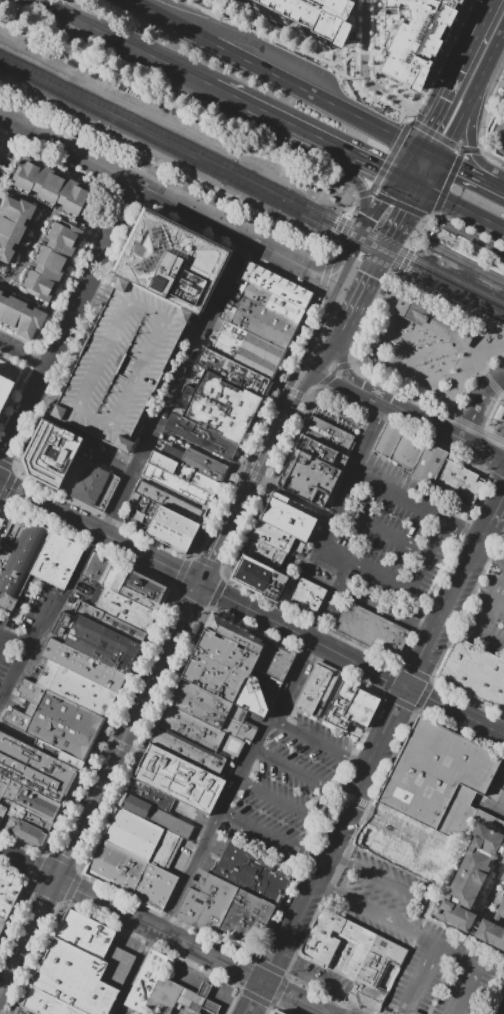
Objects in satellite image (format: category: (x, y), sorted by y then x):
road: (502, 9)
building: (317, 15)
road: (295, 30)
road: (101, 31)
road: (490, 35)
building: (417, 38)
road: (354, 45)
road: (350, 53)
road: (364, 65)
road: (373, 67)
road: (476, 70)
road: (274, 73)
road: (188, 74)
road: (356, 79)
road: (230, 94)
road: (448, 101)
building: (502, 101)
road: (408, 115)
road: (456, 120)
road: (288, 122)
traffic signals: (427, 131)
road: (498, 133)
road: (435, 135)
parking lot: (496, 137)
road: (70, 149)
road: (428, 151)
road: (473, 151)
road: (389, 156)
road: (362, 158)
road: (493, 159)
road: (406, 160)
road: (448, 160)
traffic signals: (459, 166)
traffic signals: (379, 167)
road: (431, 172)
parking lot: (175, 176)
road: (479, 176)
railway: (252, 177)
road: (410, 182)
road: (448, 182)
building: (53, 187)
railway: (252, 189)
road: (361, 193)
road: (398, 204)
road: (353, 207)
road: (463, 207)
road: (377, 210)
traffic signals: (409, 213)
road: (406, 217)
building: (13, 226)
road: (419, 228)
road: (429, 228)
road: (469, 228)
road: (339, 229)
road: (239, 232)
railway: (435, 236)
railway: (473, 239)
road: (331, 251)
road: (387, 252)
building: (54, 259)
road: (400, 260)
railway: (468, 260)
building: (173, 261)
road: (347, 263)
building: (497, 263)
road: (324, 277)
traffic signals: (374, 278)
building: (277, 284)
road: (102, 286)
parking lot: (111, 291)
road: (364, 294)
road: (97, 296)
parking lot: (107, 301)
building: (272, 301)
road: (447, 305)
building: (426, 315)
building: (22, 317)
road: (72, 322)
building: (264, 322)
street lamp: (418, 331)
building: (463, 333)
street lamp: (492, 333)
road: (341, 337)
street lamp: (442, 342)
street lamp: (404, 345)
building: (248, 349)
road: (24, 355)
road: (302, 359)
street lamp: (451, 360)
road: (326, 361)
road: (401, 361)
street lamp: (416, 365)
road: (475, 365)
building: (13, 366)
building: (125, 366)
parking garage: (125, 366)
road: (356, 366)
building: (233, 370)
road: (333, 370)
road: (463, 370)
street lamp: (444, 376)
road: (352, 380)
road: (489, 381)
road: (492, 385)
building: (6, 389)
road: (349, 389)
road: (294, 392)
street lamp: (497, 400)
building: (221, 406)
road: (290, 406)
building: (499, 413)
road: (473, 418)
street lamp: (488, 420)
road: (158, 421)
road: (424, 422)
road: (254, 424)
road: (478, 427)
road: (404, 428)
road: (488, 431)
building: (330, 435)
building: (202, 437)
road: (498, 444)
road: (477, 448)
road: (205, 451)
building: (51, 452)
building: (321, 452)
traffic signals: (492, 455)
road: (498, 457)
road: (111, 461)
building: (428, 464)
building: (193, 469)
road: (496, 476)
building: (309, 477)
road: (273, 478)
building: (90, 484)
building: (176, 484)
road: (172, 491)
road: (294, 496)
building: (171, 501)
road: (417, 505)
road: (496, 508)
road: (237, 511)
building: (287, 517)
building: (170, 526)
road: (382, 530)
road: (100, 533)
parking lot: (383, 539)
building: (275, 548)
road: (490, 550)
building: (19, 559)
building: (58, 560)
road: (208, 562)
building: (96, 567)
road: (180, 572)
building: (116, 576)
building: (260, 577)
traffic signals: (202, 584)
road: (406, 585)
building: (145, 586)
road: (216, 592)
building: (302, 595)
building: (140, 598)
road: (188, 602)
road: (500, 602)
road: (446, 603)
parking lot: (488, 605)
building: (124, 608)
road: (385, 610)
building: (109, 621)
road: (487, 621)
building: (371, 630)
parking lot: (26, 634)
building: (237, 634)
road: (304, 634)
road: (0, 638)
road: (14, 642)
building: (102, 644)
road: (172, 644)
road: (30, 647)
building: (275, 661)
building: (83, 664)
building: (221, 667)
road: (73, 671)
building: (474, 672)
building: (75, 687)
building: (317, 687)
building: (254, 699)
building: (201, 704)
building: (352, 707)
road: (454, 710)
road: (277, 713)
building: (54, 724)
building: (239, 725)
road: (503, 731)
building: (201, 733)
road: (126, 739)
road: (319, 743)
building: (191, 752)
parking lot: (500, 767)
road: (502, 768)
building: (35, 769)
building: (438, 777)
building: (178, 778)
building: (3, 784)
parking lot: (291, 790)
parking lot: (487, 790)
building: (149, 794)
road: (495, 794)
building: (31, 799)
road: (323, 804)
building: (2, 811)
building: (156, 816)
building: (30, 817)
road: (386, 822)
road: (82, 827)
building: (24, 833)
road: (337, 835)
building: (140, 837)
road: (274, 837)
building: (382, 845)
building: (502, 857)
road: (28, 866)
building: (116, 867)
building: (254, 873)
building: (502, 876)
building: (470, 878)
traffic signals: (57, 881)
building: (155, 885)
building: (8, 894)
building: (208, 901)
building: (501, 910)
building: (252, 918)
road: (421, 919)
building: (2, 922)
road: (33, 927)
road: (160, 931)
building: (491, 932)
building: (85, 933)
parking lot: (411, 935)
building: (323, 938)
road: (426, 939)
road: (446, 950)
building: (369, 958)
building: (118, 963)
building: (75, 978)
building: (146, 980)
road: (319, 980)
road: (214, 983)
road: (5, 985)
building: (204, 989)
building: (163, 995)
road: (255, 998)
road: (294, 998)
building: (190, 999)
building: (47, 1003)
building: (210, 1006)
building: (23, 1010)
parking lot: (149, 1012)
building: (272, 1012)
building: (279, 1012)
road: (0, 1013)
road: (503, 1013)

